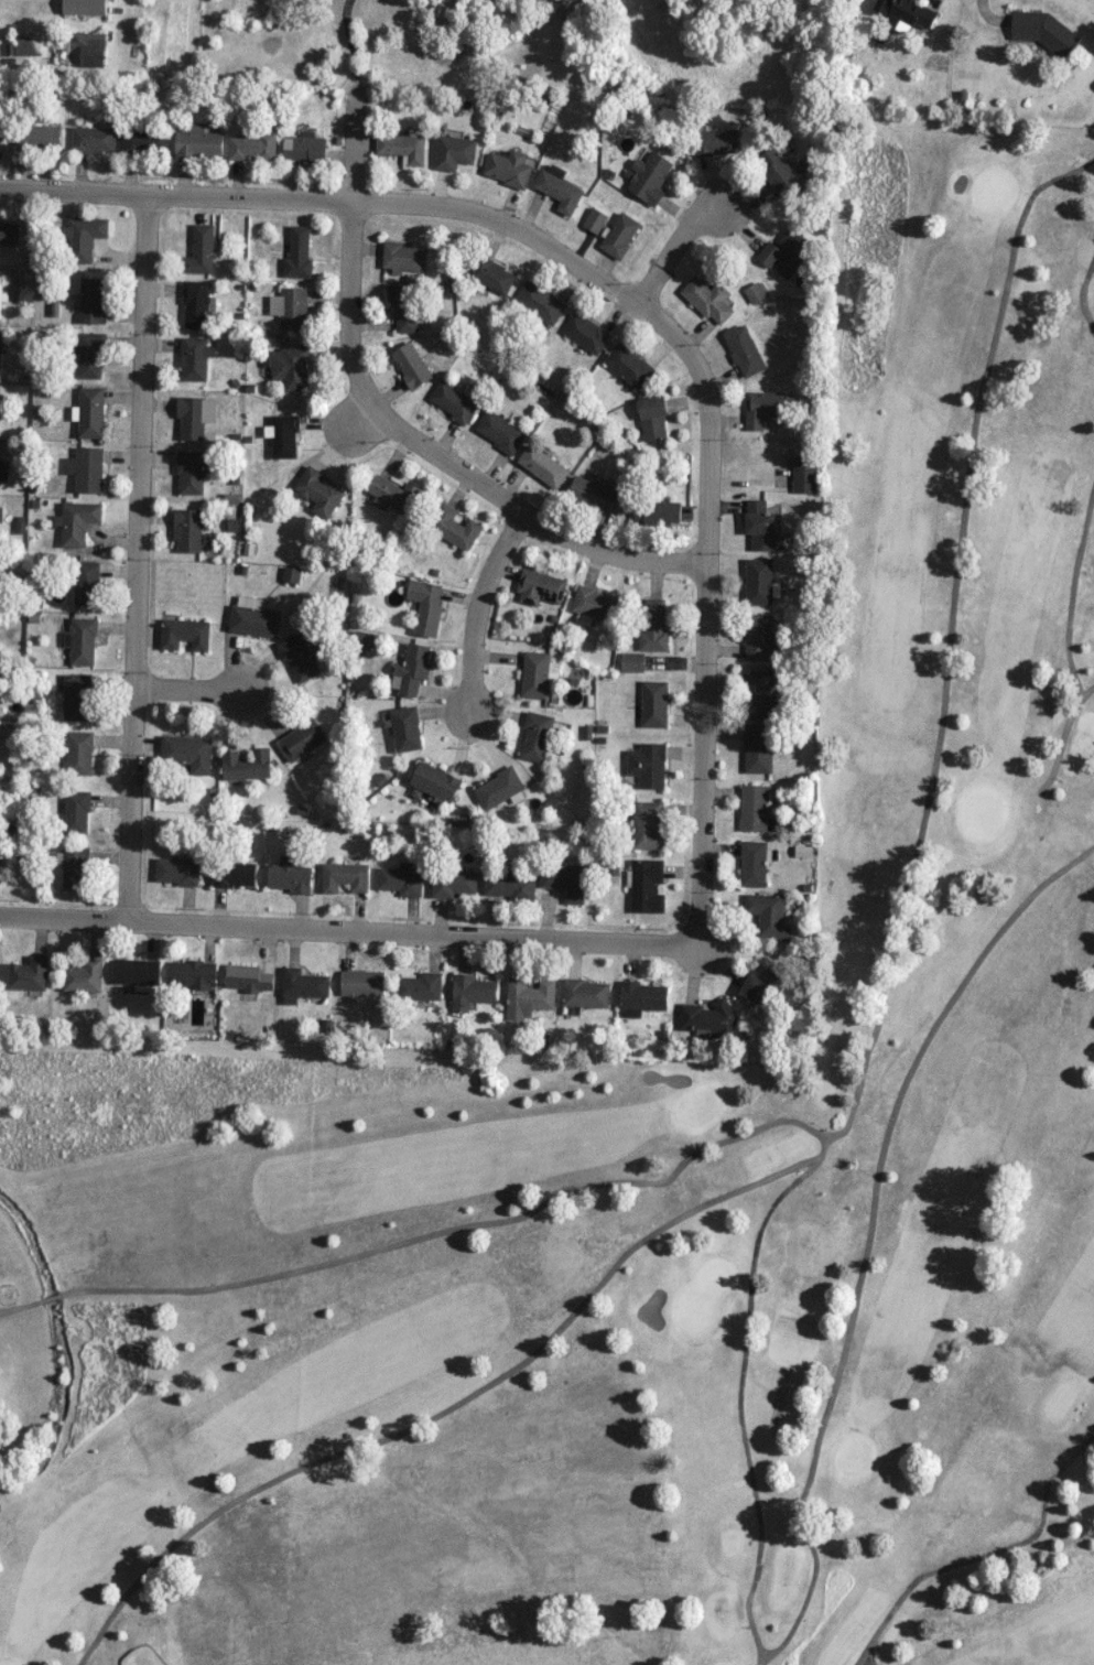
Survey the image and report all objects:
road: (346, 3)
road: (343, 4)
building: (84, 7)
building: (907, 13)
building: (1043, 30)
building: (28, 44)
building: (87, 48)
road: (351, 50)
building: (1, 125)
building: (39, 137)
building: (94, 139)
building: (144, 140)
building: (716, 141)
building: (198, 142)
building: (251, 145)
building: (401, 145)
building: (304, 147)
building: (454, 151)
building: (509, 167)
building: (777, 170)
building: (649, 174)
building: (559, 191)
road: (329, 193)
building: (594, 219)
building: (9, 233)
building: (619, 234)
building: (84, 236)
road: (670, 239)
building: (201, 250)
building: (793, 250)
building: (297, 252)
building: (769, 253)
road: (349, 255)
building: (403, 257)
building: (491, 274)
building: (0, 292)
building: (754, 292)
building: (93, 299)
building: (707, 299)
building: (539, 301)
building: (197, 303)
building: (403, 305)
building: (290, 307)
building: (585, 333)
building: (0, 345)
building: (744, 349)
building: (91, 355)
building: (194, 357)
building: (411, 364)
building: (289, 365)
building: (628, 365)
building: (453, 401)
building: (765, 407)
building: (89, 411)
building: (194, 415)
building: (652, 418)
building: (499, 431)
building: (282, 434)
building: (542, 465)
building: (87, 468)
building: (192, 469)
building: (804, 473)
building: (318, 490)
building: (393, 494)
building: (596, 494)
road: (526, 509)
building: (657, 511)
building: (0, 512)
building: (77, 521)
building: (759, 525)
building: (453, 527)
building: (187, 529)
road: (136, 548)
building: (290, 573)
building: (758, 581)
building: (86, 582)
building: (540, 586)
road: (703, 603)
building: (596, 605)
building: (425, 606)
road: (476, 606)
building: (252, 617)
building: (653, 626)
building: (184, 633)
building: (759, 637)
building: (82, 640)
building: (299, 657)
building: (632, 661)
building: (411, 668)
building: (537, 673)
building: (763, 691)
road: (188, 692)
building: (76, 696)
building: (653, 703)
building: (535, 736)
building: (302, 739)
building: (757, 747)
building: (78, 752)
building: (187, 752)
building: (246, 764)
building: (648, 764)
building: (435, 781)
building: (499, 788)
building: (754, 807)
building: (76, 812)
building: (752, 863)
building: (74, 867)
building: (0, 868)
building: (176, 871)
building: (234, 874)
building: (289, 875)
building: (344, 876)
building: (400, 878)
building: (564, 879)
building: (453, 882)
building: (510, 885)
building: (646, 885)
building: (768, 913)
road: (349, 920)
building: (137, 971)
building: (29, 973)
building: (193, 973)
building: (84, 975)
building: (248, 977)
building: (361, 982)
building: (758, 983)
building: (302, 984)
building: (420, 985)
building: (470, 991)
building: (585, 993)
building: (529, 997)
building: (641, 997)
building: (707, 1018)
park: (656, 1155)

